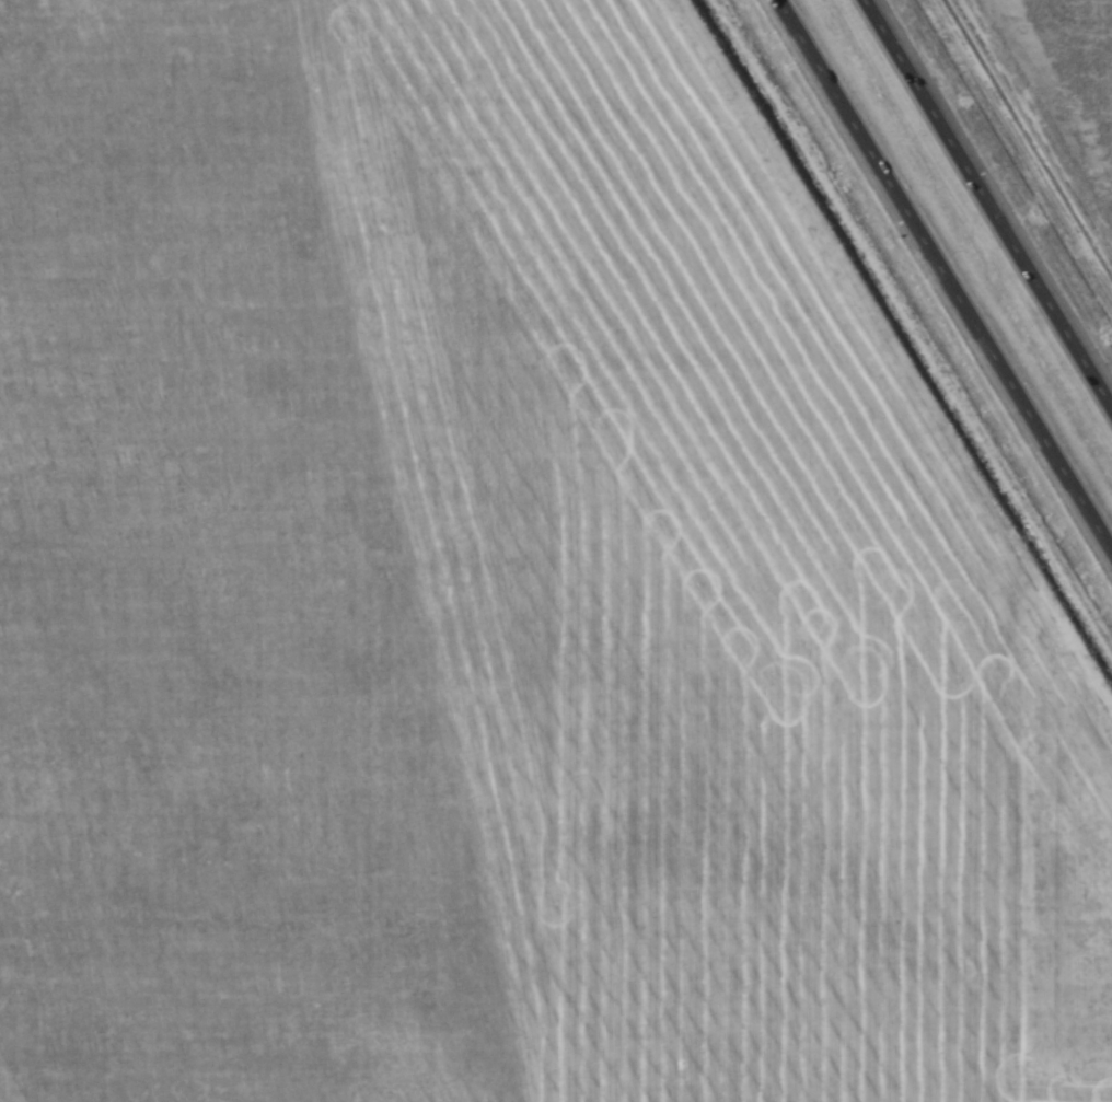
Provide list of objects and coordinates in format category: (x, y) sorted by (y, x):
road: (991, 199)
road: (946, 272)

